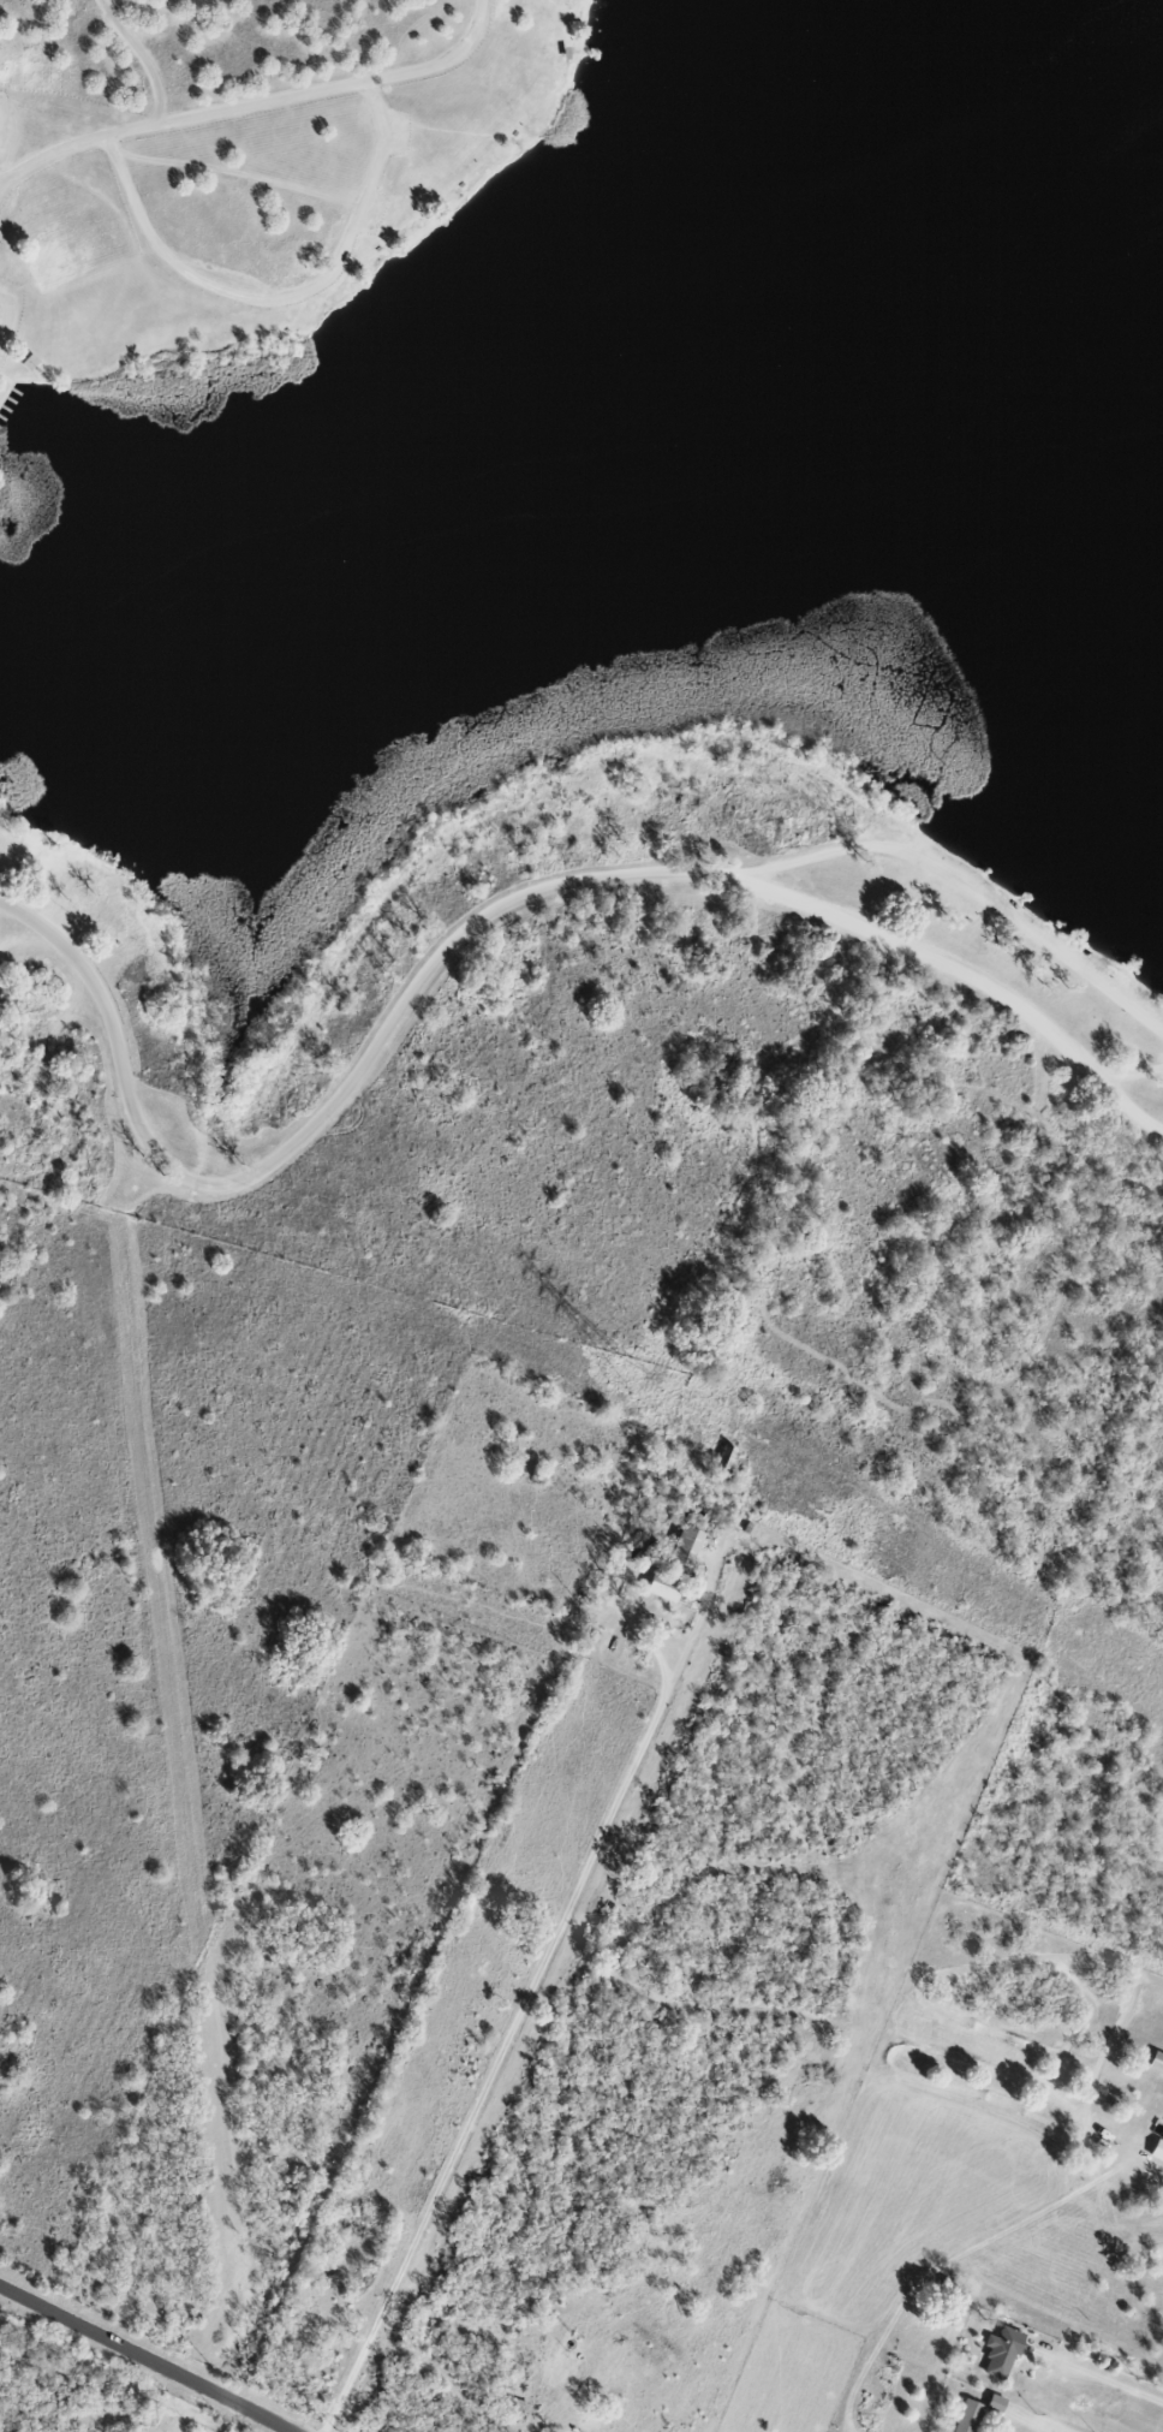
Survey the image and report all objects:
road: (260, 105)
park: (247, 165)
road: (473, 832)
road: (973, 891)
road: (472, 927)
park: (661, 1107)
road: (1126, 1110)
power tower: (622, 1374)
building: (682, 1548)
building: (662, 1586)
road: (520, 2018)
building: (1155, 2063)
building: (1156, 2151)
building: (1000, 2351)
road: (144, 2359)
road: (1104, 2379)
building: (995, 2402)
building: (968, 2416)
road: (1032, 2421)

